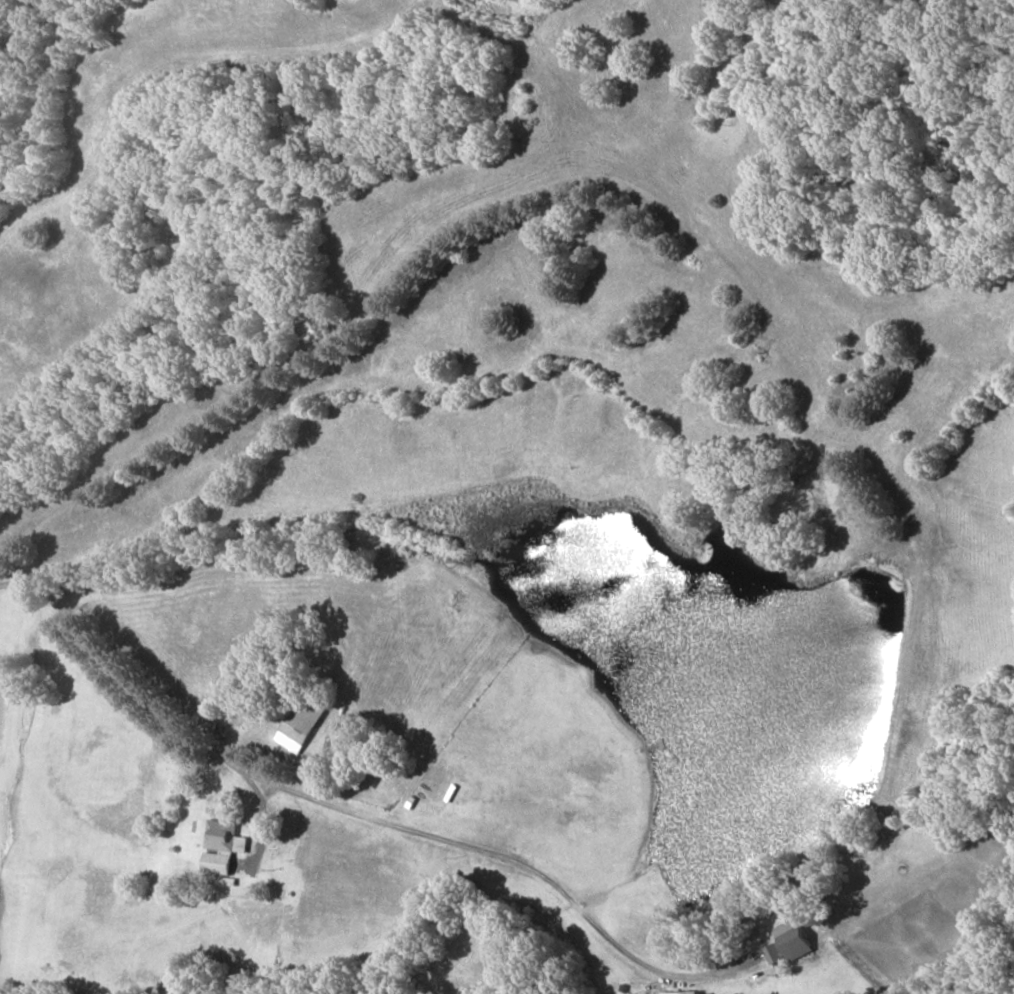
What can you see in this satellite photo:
road: (490, 184)
building: (302, 724)
building: (223, 847)
building: (797, 939)
building: (777, 954)

